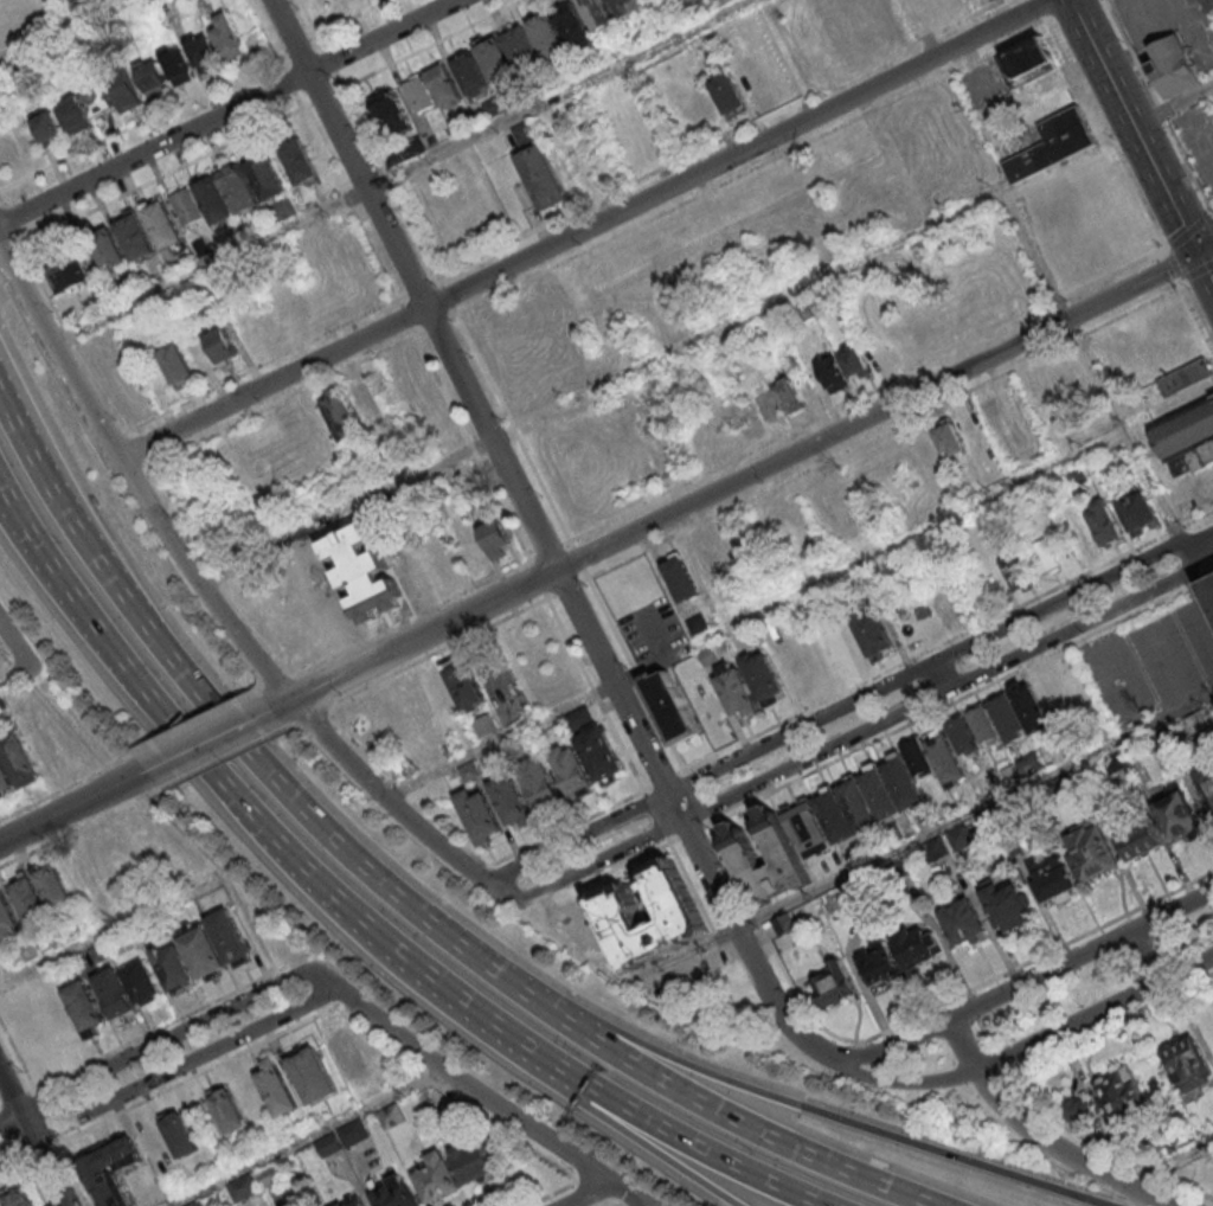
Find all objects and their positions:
parking lot: (976, 2)
building: (316, 5)
building: (1208, 5)
building: (625, 6)
road: (1039, 9)
building: (598, 12)
building: (571, 24)
road: (920, 27)
parking lot: (1168, 27)
road: (60, 28)
building: (547, 34)
building: (229, 36)
building: (520, 45)
building: (201, 50)
building: (494, 57)
building: (1026, 62)
building: (178, 64)
building: (1175, 65)
building: (469, 72)
building: (152, 76)
building: (747, 77)
building: (443, 84)
building: (123, 91)
building: (418, 92)
building: (726, 92)
building: (98, 101)
road: (1160, 107)
road: (1172, 107)
road: (229, 111)
building: (73, 114)
building: (393, 114)
building: (1060, 122)
building: (45, 126)
road: (1130, 126)
building: (524, 131)
road: (1106, 134)
parking lot: (1196, 141)
building: (404, 150)
road: (737, 152)
building: (1046, 152)
road: (346, 153)
building: (297, 160)
road: (402, 172)
building: (264, 175)
building: (541, 175)
building: (237, 187)
building: (212, 199)
building: (185, 204)
building: (282, 209)
building: (162, 222)
road: (1189, 231)
building: (131, 235)
building: (108, 248)
traffic signals: (1194, 251)
road: (1034, 257)
road: (1174, 265)
road: (1204, 269)
building: (66, 270)
road: (1196, 272)
building: (293, 306)
road: (1196, 313)
building: (943, 319)
building: (218, 341)
building: (854, 360)
building: (175, 365)
building: (833, 371)
building: (1185, 379)
road: (271, 381)
building: (1071, 383)
road: (601, 387)
building: (788, 394)
road: (285, 399)
building: (364, 402)
building: (766, 403)
road: (884, 406)
building: (340, 413)
road: (23, 416)
building: (1185, 428)
road: (1123, 430)
road: (885, 432)
road: (488, 437)
road: (19, 438)
building: (950, 438)
road: (471, 448)
building: (1192, 456)
building: (904, 458)
building: (879, 473)
building: (464, 475)
building: (1078, 477)
road: (133, 479)
parking lot: (1190, 492)
building: (1144, 508)
road: (8, 511)
road: (9, 515)
building: (1130, 517)
building: (1103, 521)
building: (494, 537)
road: (85, 550)
road: (548, 550)
building: (1044, 557)
road: (577, 559)
building: (448, 563)
building: (362, 570)
building: (1015, 571)
building: (405, 573)
road: (212, 578)
building: (681, 578)
road: (538, 579)
building: (1211, 584)
road: (567, 588)
road: (1196, 601)
building: (309, 615)
road: (756, 616)
road: (412, 620)
building: (287, 630)
parking lot: (652, 630)
building: (873, 635)
road: (405, 642)
road: (12, 652)
road: (441, 652)
building: (708, 653)
parking lot: (1151, 659)
building: (788, 662)
road: (12, 674)
road: (941, 674)
building: (762, 676)
building: (463, 682)
road: (276, 685)
building: (736, 688)
building: (437, 692)
building: (13, 694)
road: (616, 694)
road: (595, 695)
road: (149, 698)
road: (961, 698)
road: (847, 703)
building: (706, 704)
building: (2, 705)
building: (413, 705)
building: (669, 706)
building: (1029, 706)
road: (314, 714)
building: (391, 718)
building: (1008, 718)
building: (1198, 721)
building: (486, 723)
building: (982, 723)
road: (191, 726)
building: (1122, 730)
building: (961, 734)
road: (849, 736)
building: (1160, 740)
road: (203, 744)
building: (595, 745)
building: (45, 750)
road: (92, 755)
building: (1054, 755)
building: (917, 756)
building: (945, 757)
building: (19, 759)
road: (222, 759)
building: (1118, 763)
road: (115, 764)
building: (1031, 765)
building: (572, 770)
building: (1012, 776)
building: (5, 780)
building: (540, 780)
building: (901, 781)
building: (1206, 783)
building: (1068, 787)
road: (402, 791)
building: (880, 791)
road: (384, 794)
building: (512, 798)
building: (856, 803)
road: (72, 806)
road: (975, 812)
building: (834, 814)
building: (479, 815)
building: (1181, 817)
building: (806, 827)
road: (567, 829)
road: (75, 830)
building: (901, 830)
building: (148, 834)
building: (1141, 838)
building: (962, 839)
building: (739, 848)
building: (1016, 849)
building: (936, 851)
building: (1093, 853)
building: (894, 871)
road: (226, 873)
building: (1053, 878)
building: (56, 892)
building: (854, 893)
building: (31, 902)
building: (1007, 905)
building: (7, 918)
building: (682, 918)
building: (964, 924)
building: (784, 926)
road: (110, 932)
building: (231, 939)
road: (378, 941)
road: (744, 943)
building: (914, 949)
building: (0, 950)
road: (1080, 952)
building: (102, 955)
building: (204, 955)
road: (1144, 955)
parking lot: (685, 963)
road: (483, 964)
building: (880, 966)
building: (177, 973)
building: (143, 986)
building: (833, 988)
building: (116, 996)
road: (289, 999)
road: (971, 1006)
building: (85, 1009)
road: (912, 1019)
road: (1111, 1025)
road: (156, 1031)
road: (986, 1035)
road: (161, 1040)
road: (963, 1044)
road: (887, 1046)
road: (1023, 1050)
road: (249, 1051)
building: (345, 1052)
road: (1001, 1064)
building: (1189, 1066)
road: (167, 1073)
building: (314, 1078)
building: (374, 1085)
building: (278, 1091)
road: (483, 1095)
road: (17, 1098)
building: (1121, 1099)
road: (811, 1109)
building: (1074, 1111)
building: (230, 1114)
road: (598, 1115)
road: (50, 1116)
building: (392, 1116)
road: (640, 1120)
road: (34, 1136)
building: (180, 1136)
building: (342, 1137)
road: (312, 1138)
road: (11, 1141)
road: (521, 1143)
road: (1103, 1149)
road: (43, 1152)
road: (1066, 1152)
building: (474, 1161)
road: (1172, 1163)
road: (28, 1172)
building: (113, 1172)
road: (79, 1174)
building: (437, 1176)
building: (243, 1187)
building: (393, 1192)
road: (586, 1194)
building: (20, 1200)
building: (354, 1202)
building: (198, 1204)

